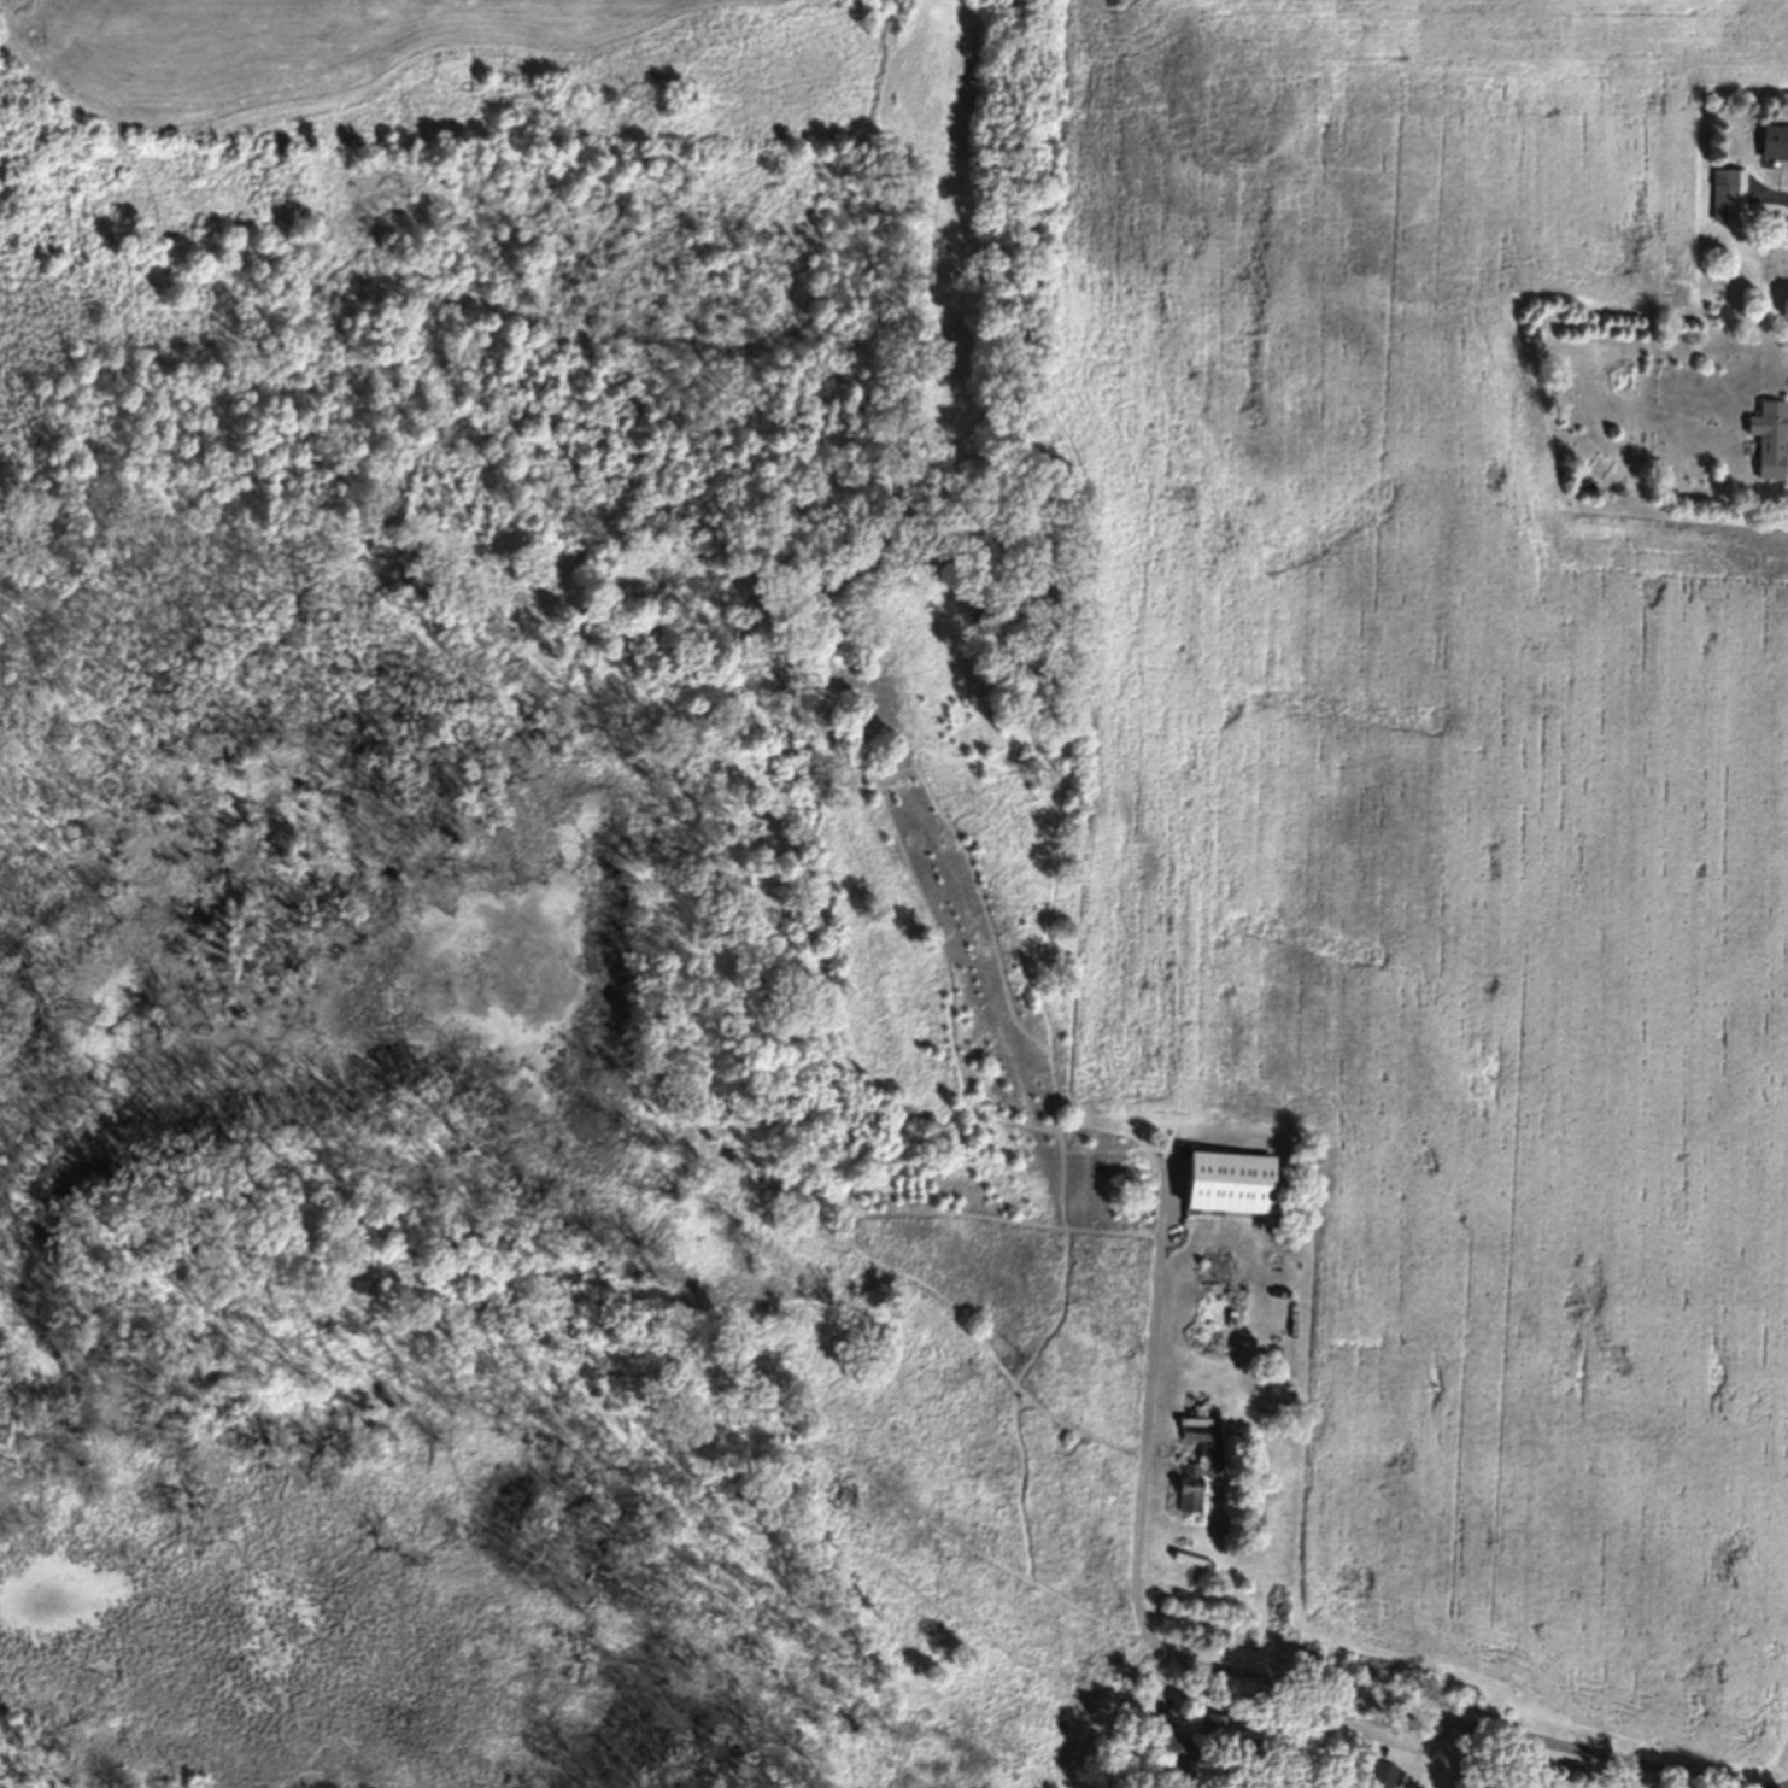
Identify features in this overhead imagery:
building: (1770, 142)
building: (1727, 194)
road: (1769, 199)
building: (1774, 438)
building: (1195, 1477)
road: (1213, 1658)
building: (1159, 1737)
road: (1569, 1748)
building: (1380, 1775)
building: (1622, 1782)

